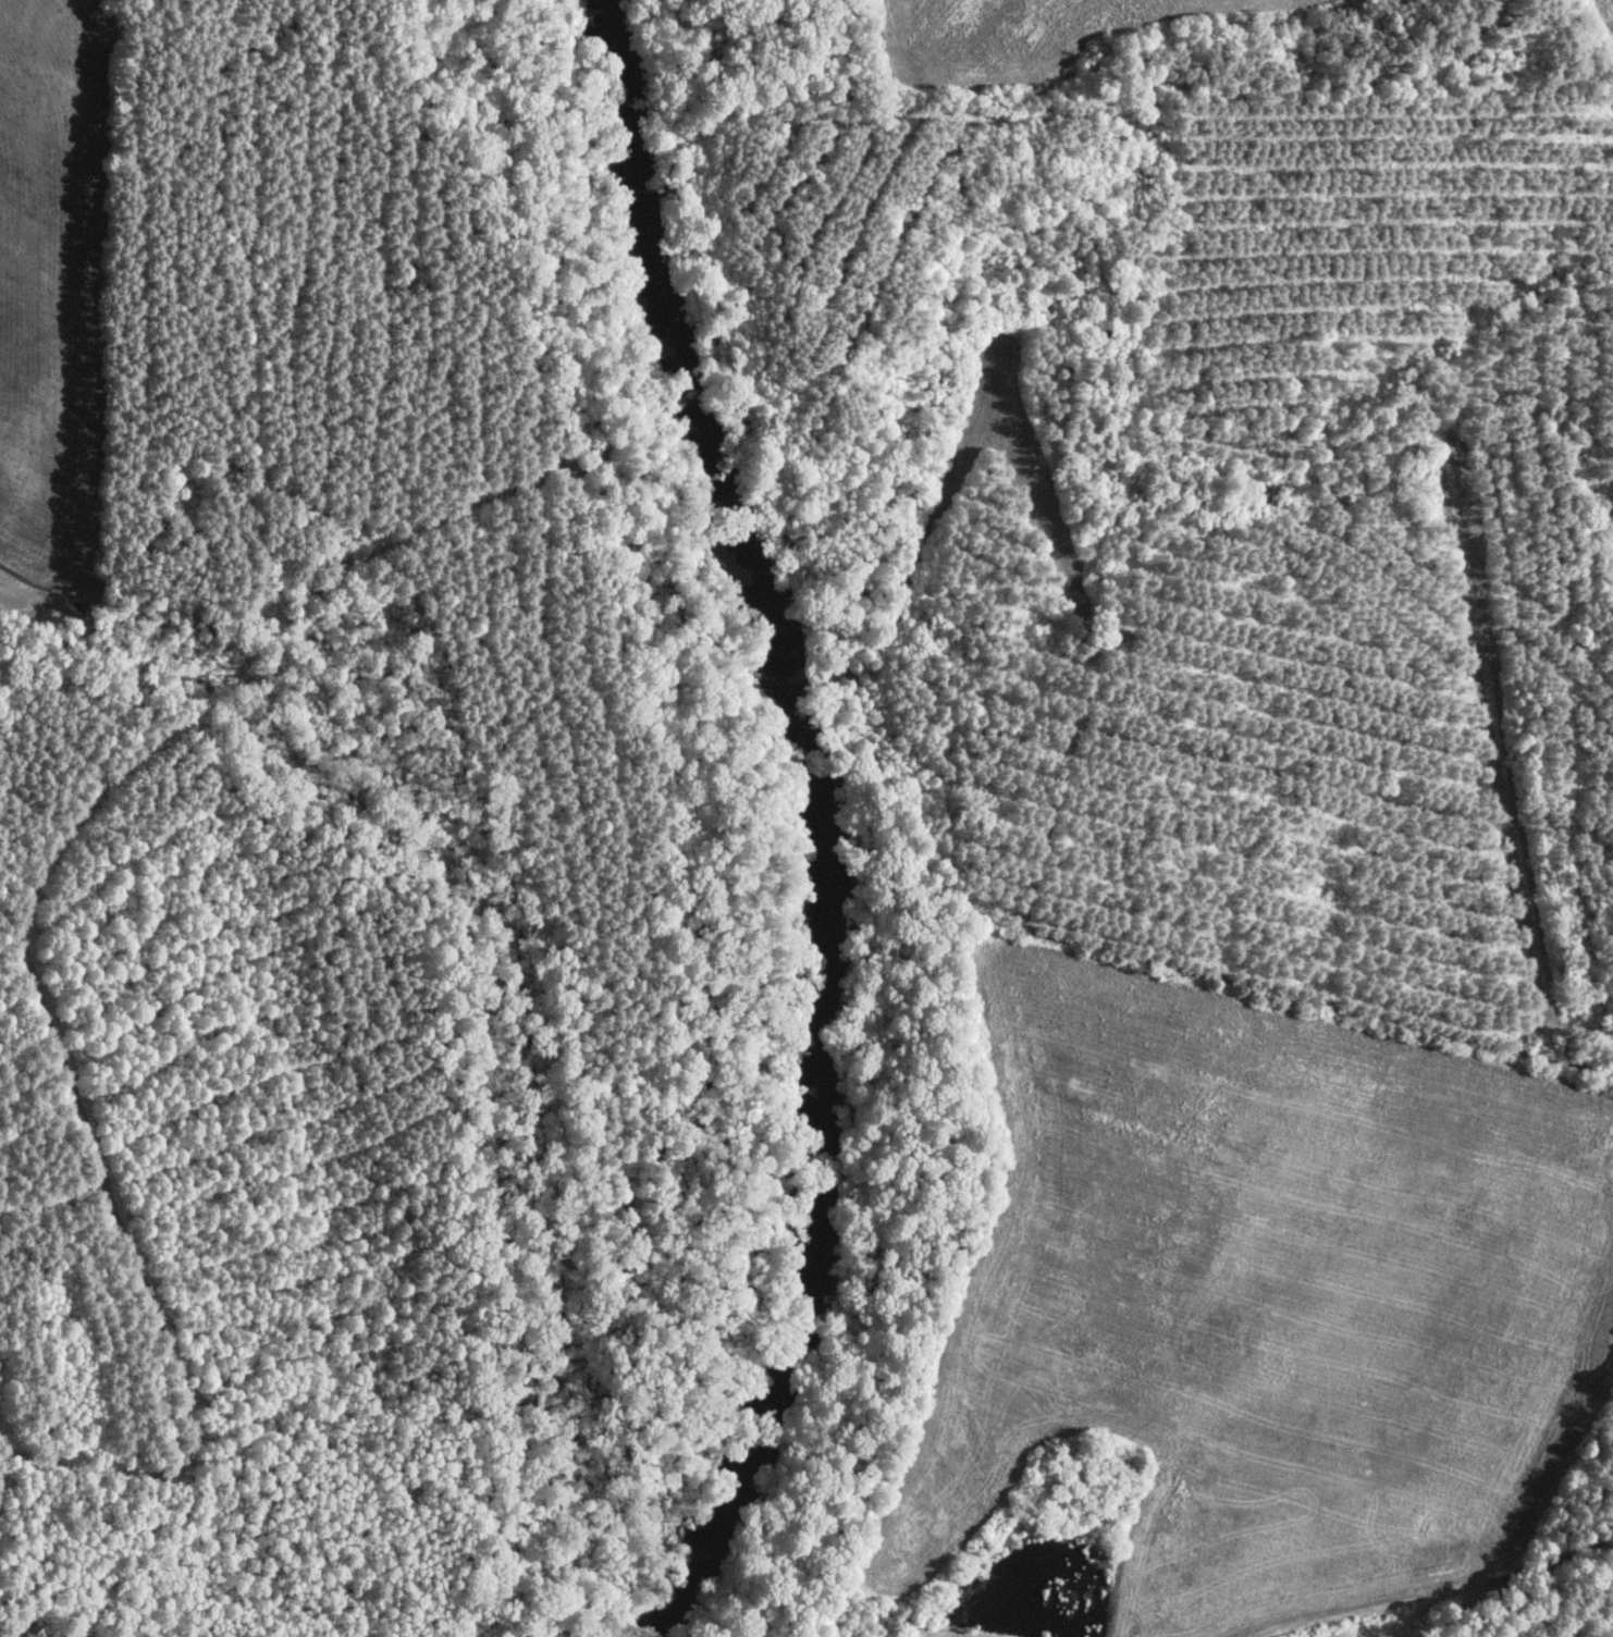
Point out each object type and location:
river: (825, 821)

